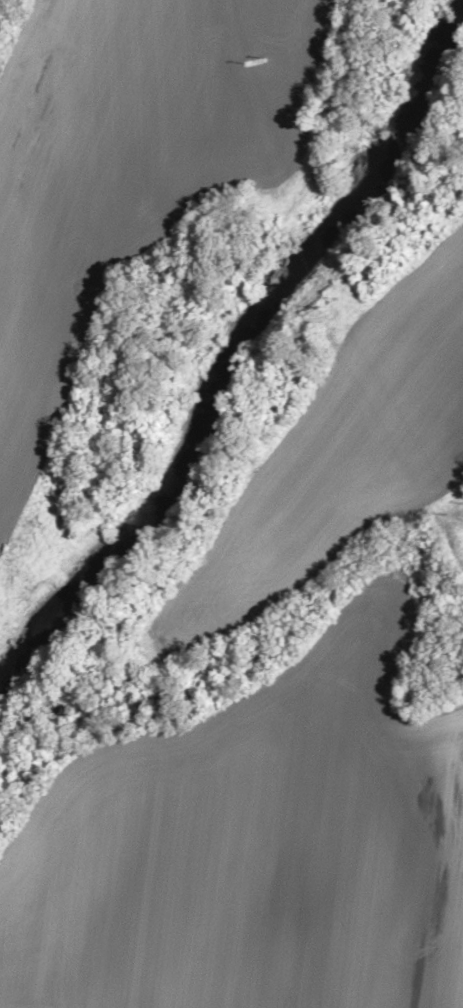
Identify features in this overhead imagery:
river: (231, 334)

